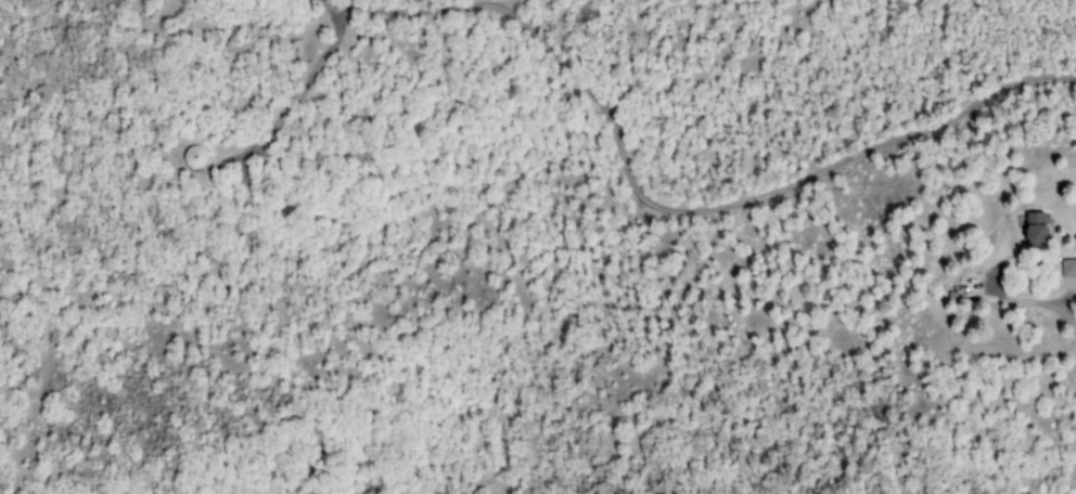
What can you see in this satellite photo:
building: (193, 157)
building: (1034, 230)
building: (1067, 269)

